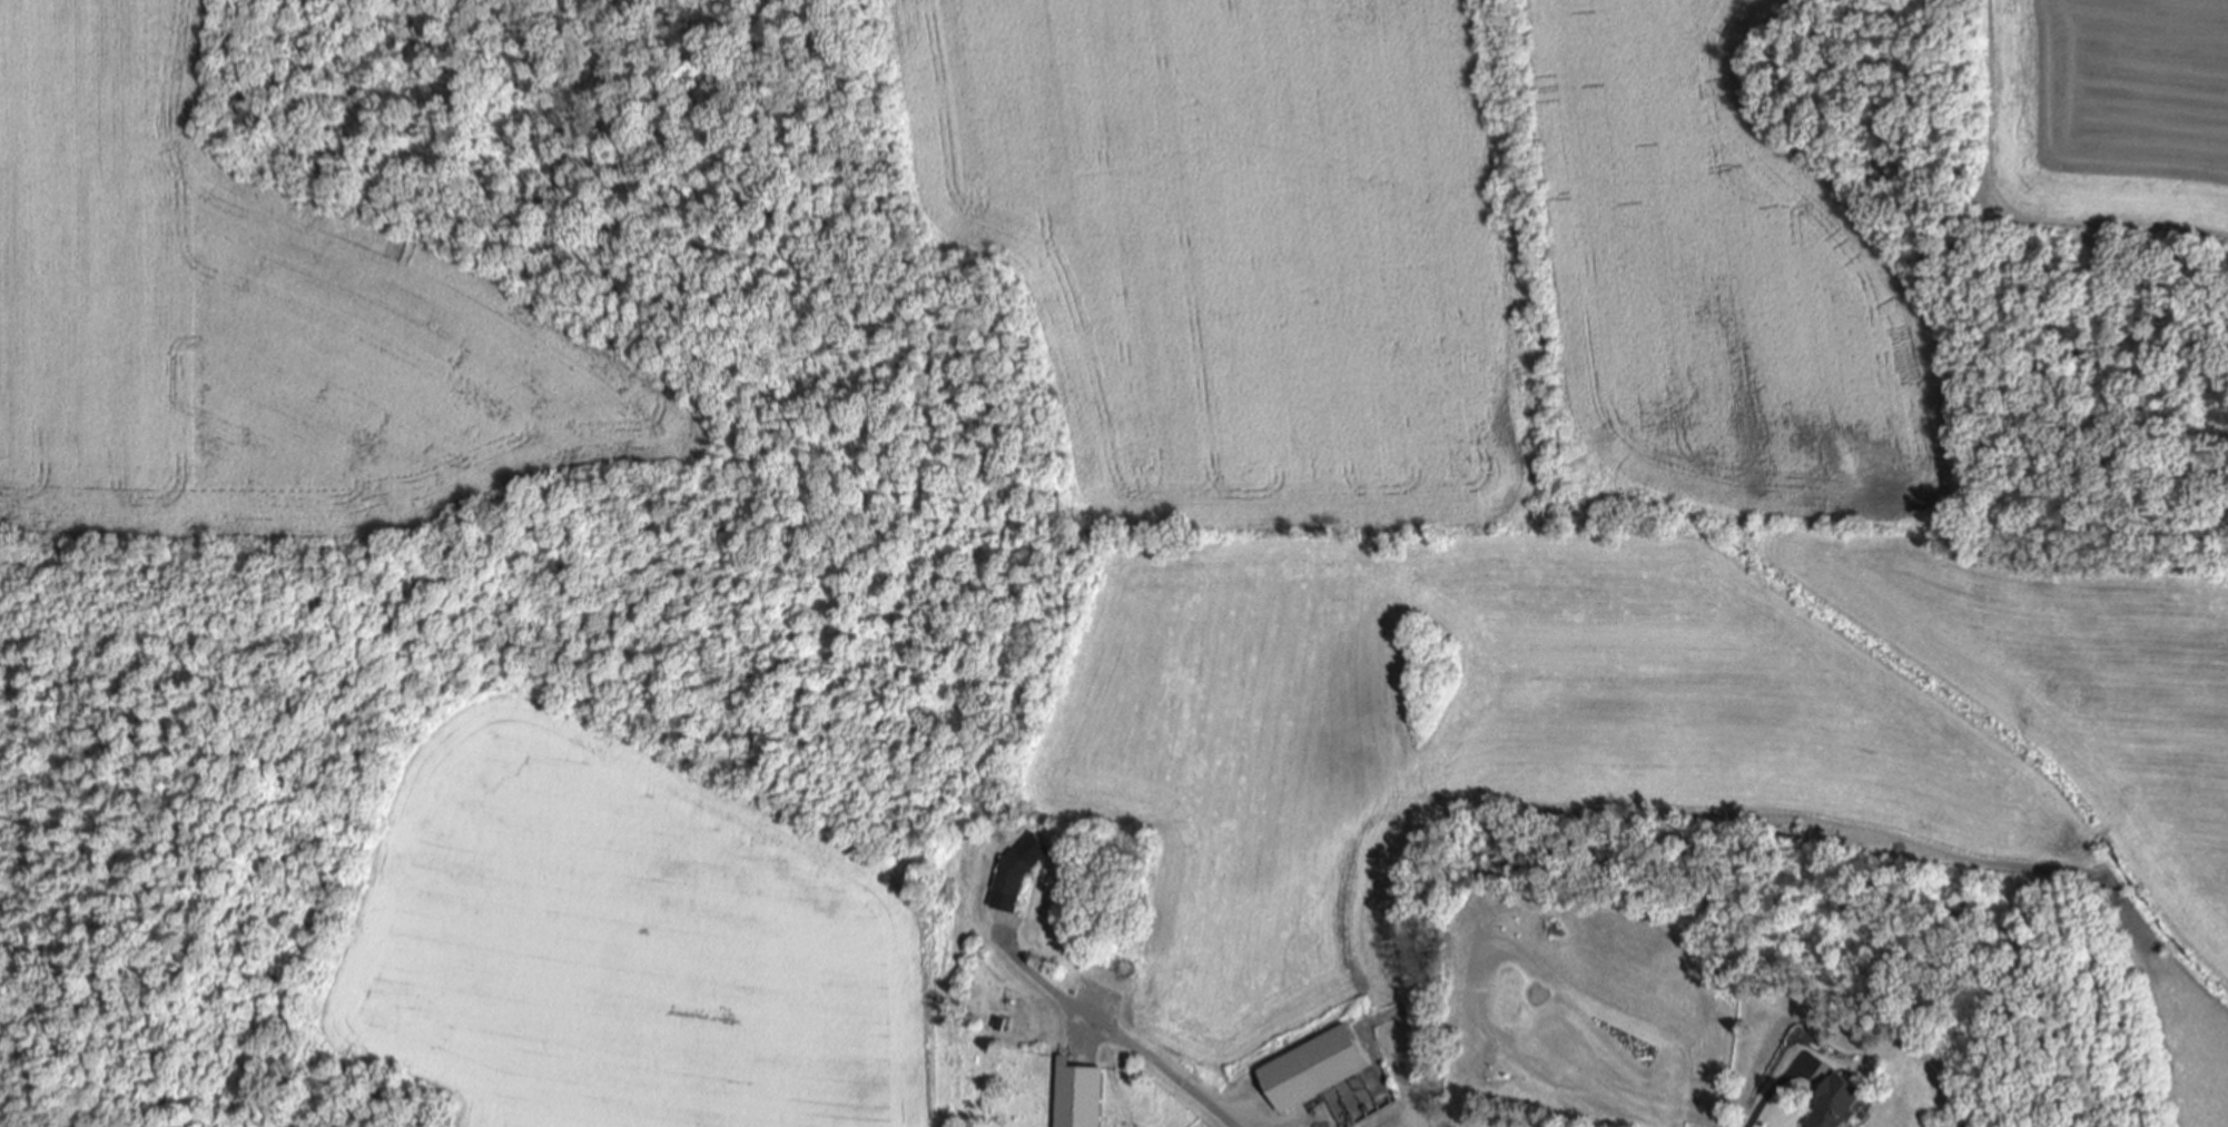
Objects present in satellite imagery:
building: (1019, 870)
road: (1120, 1036)
building: (1313, 1069)
building: (986, 1078)
road: (1776, 1081)
building: (1656, 1084)
building: (1078, 1094)
building: (1838, 1103)

